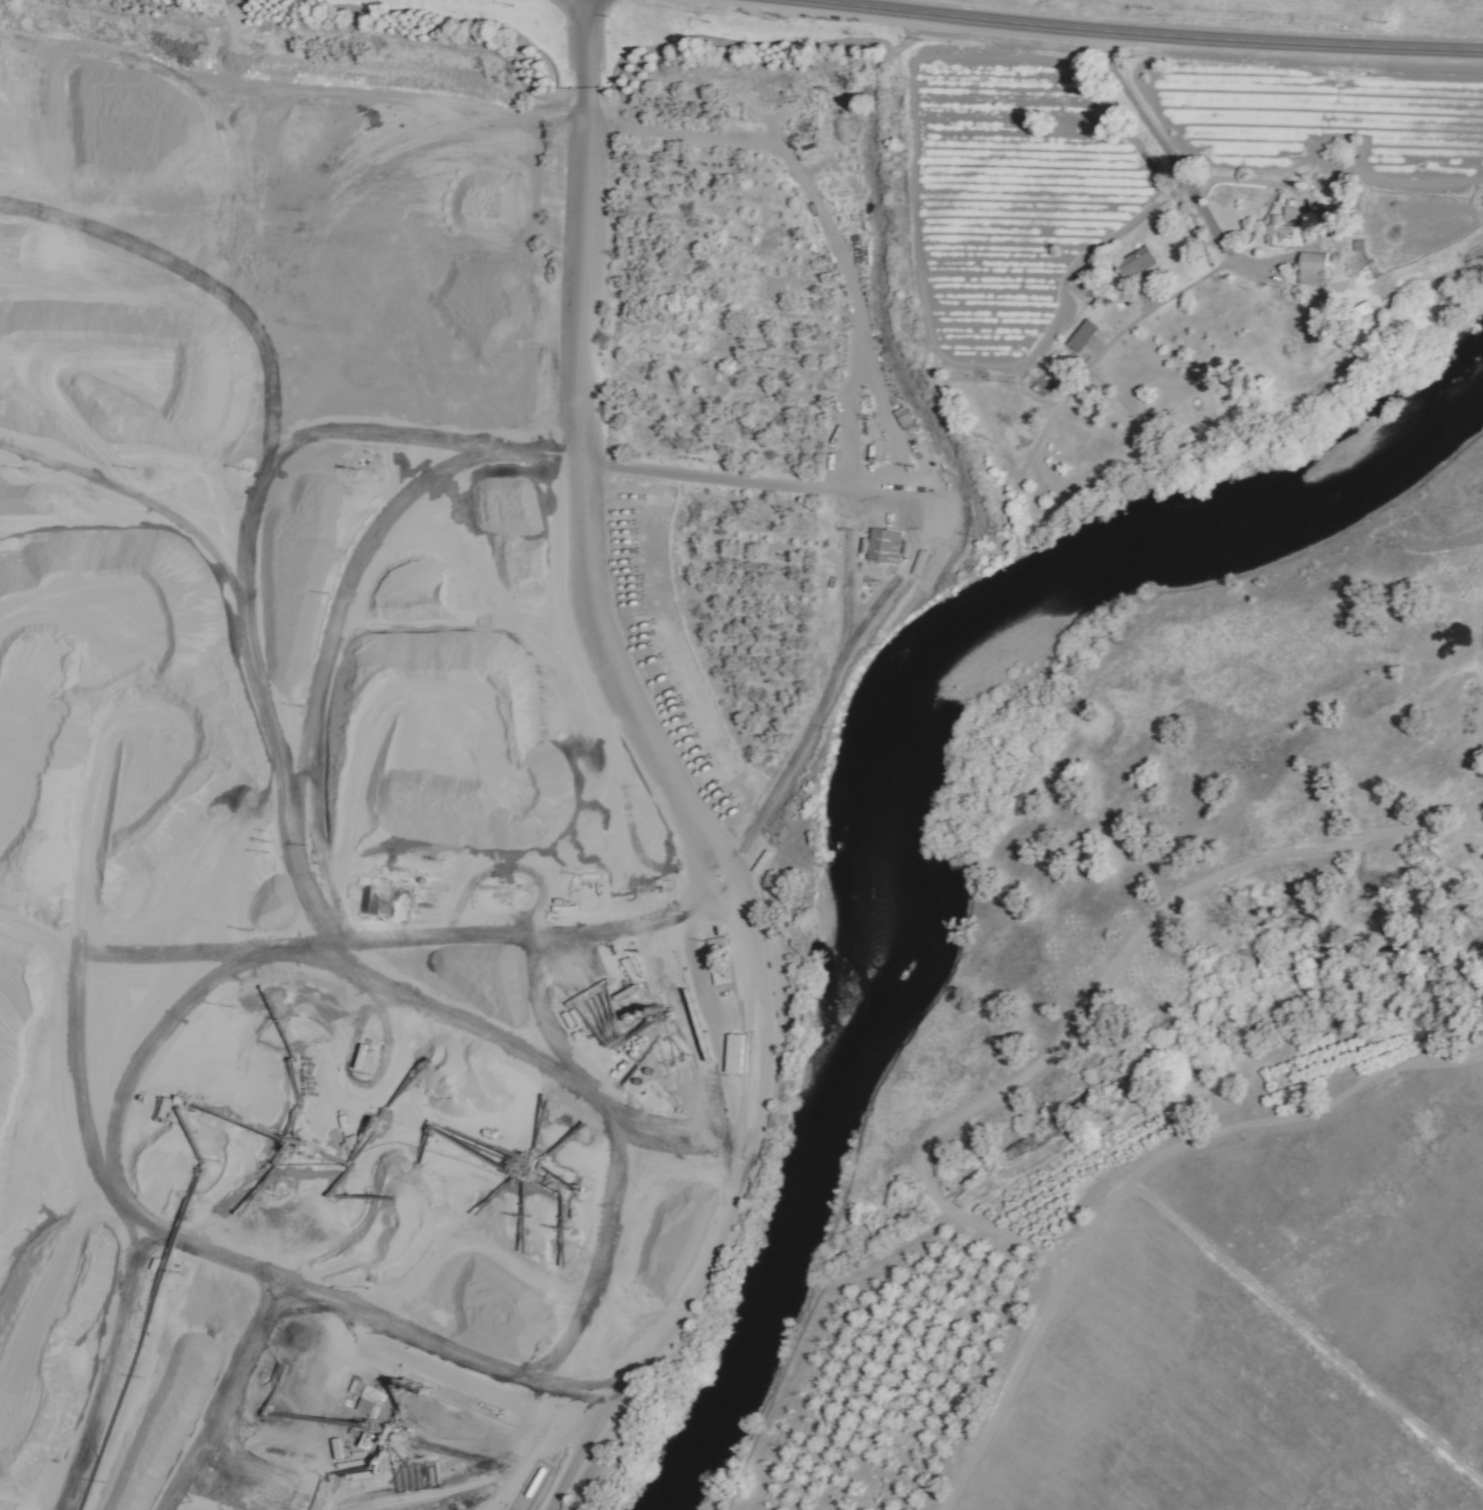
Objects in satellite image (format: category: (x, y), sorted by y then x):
road: (1140, 36)
road: (1204, 213)
road: (834, 223)
building: (1284, 228)
building: (1133, 264)
building: (1310, 268)
building: (1079, 335)
building: (868, 452)
road: (920, 538)
building: (884, 546)
road: (848, 579)
river: (1084, 583)
road: (674, 783)
quarry: (344, 1037)
road: (935, 1148)
river: (792, 1241)
crop: (1282, 1326)

